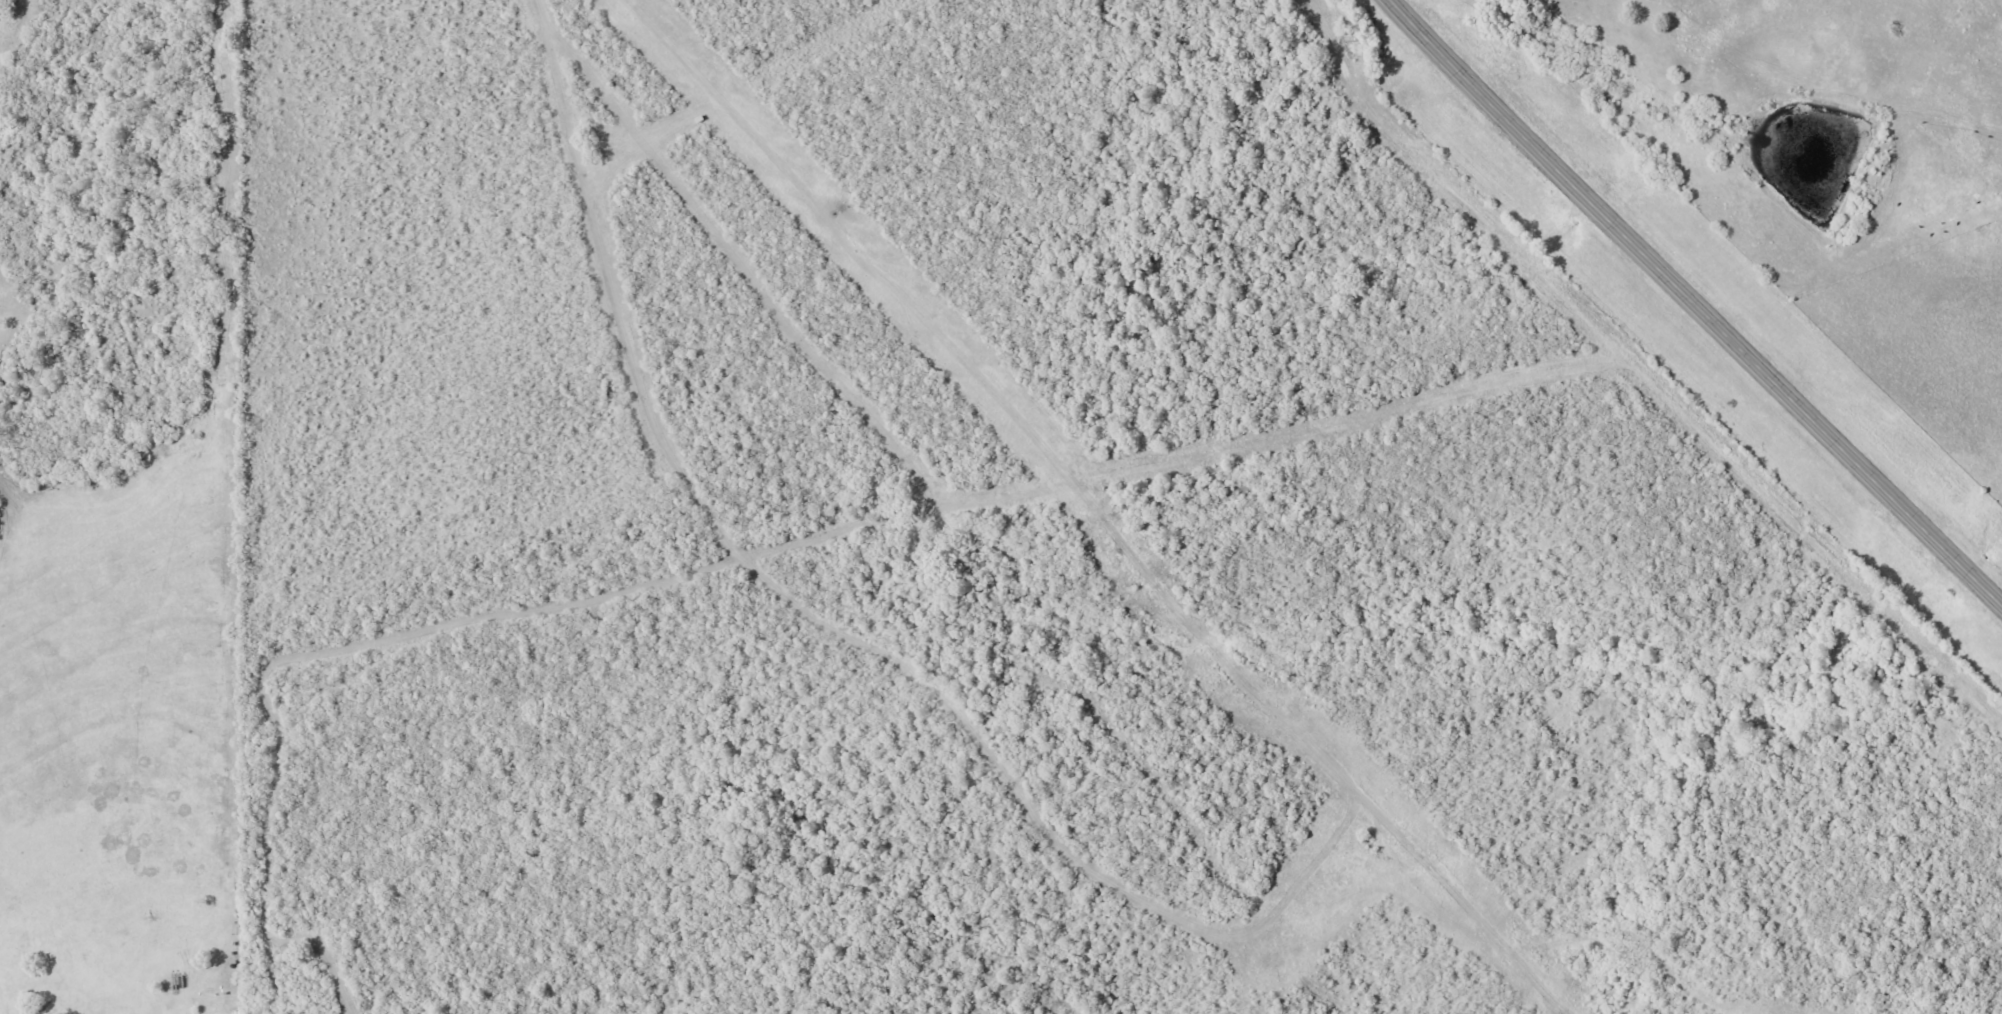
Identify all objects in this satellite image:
road: (1675, 198)
road: (1694, 303)

